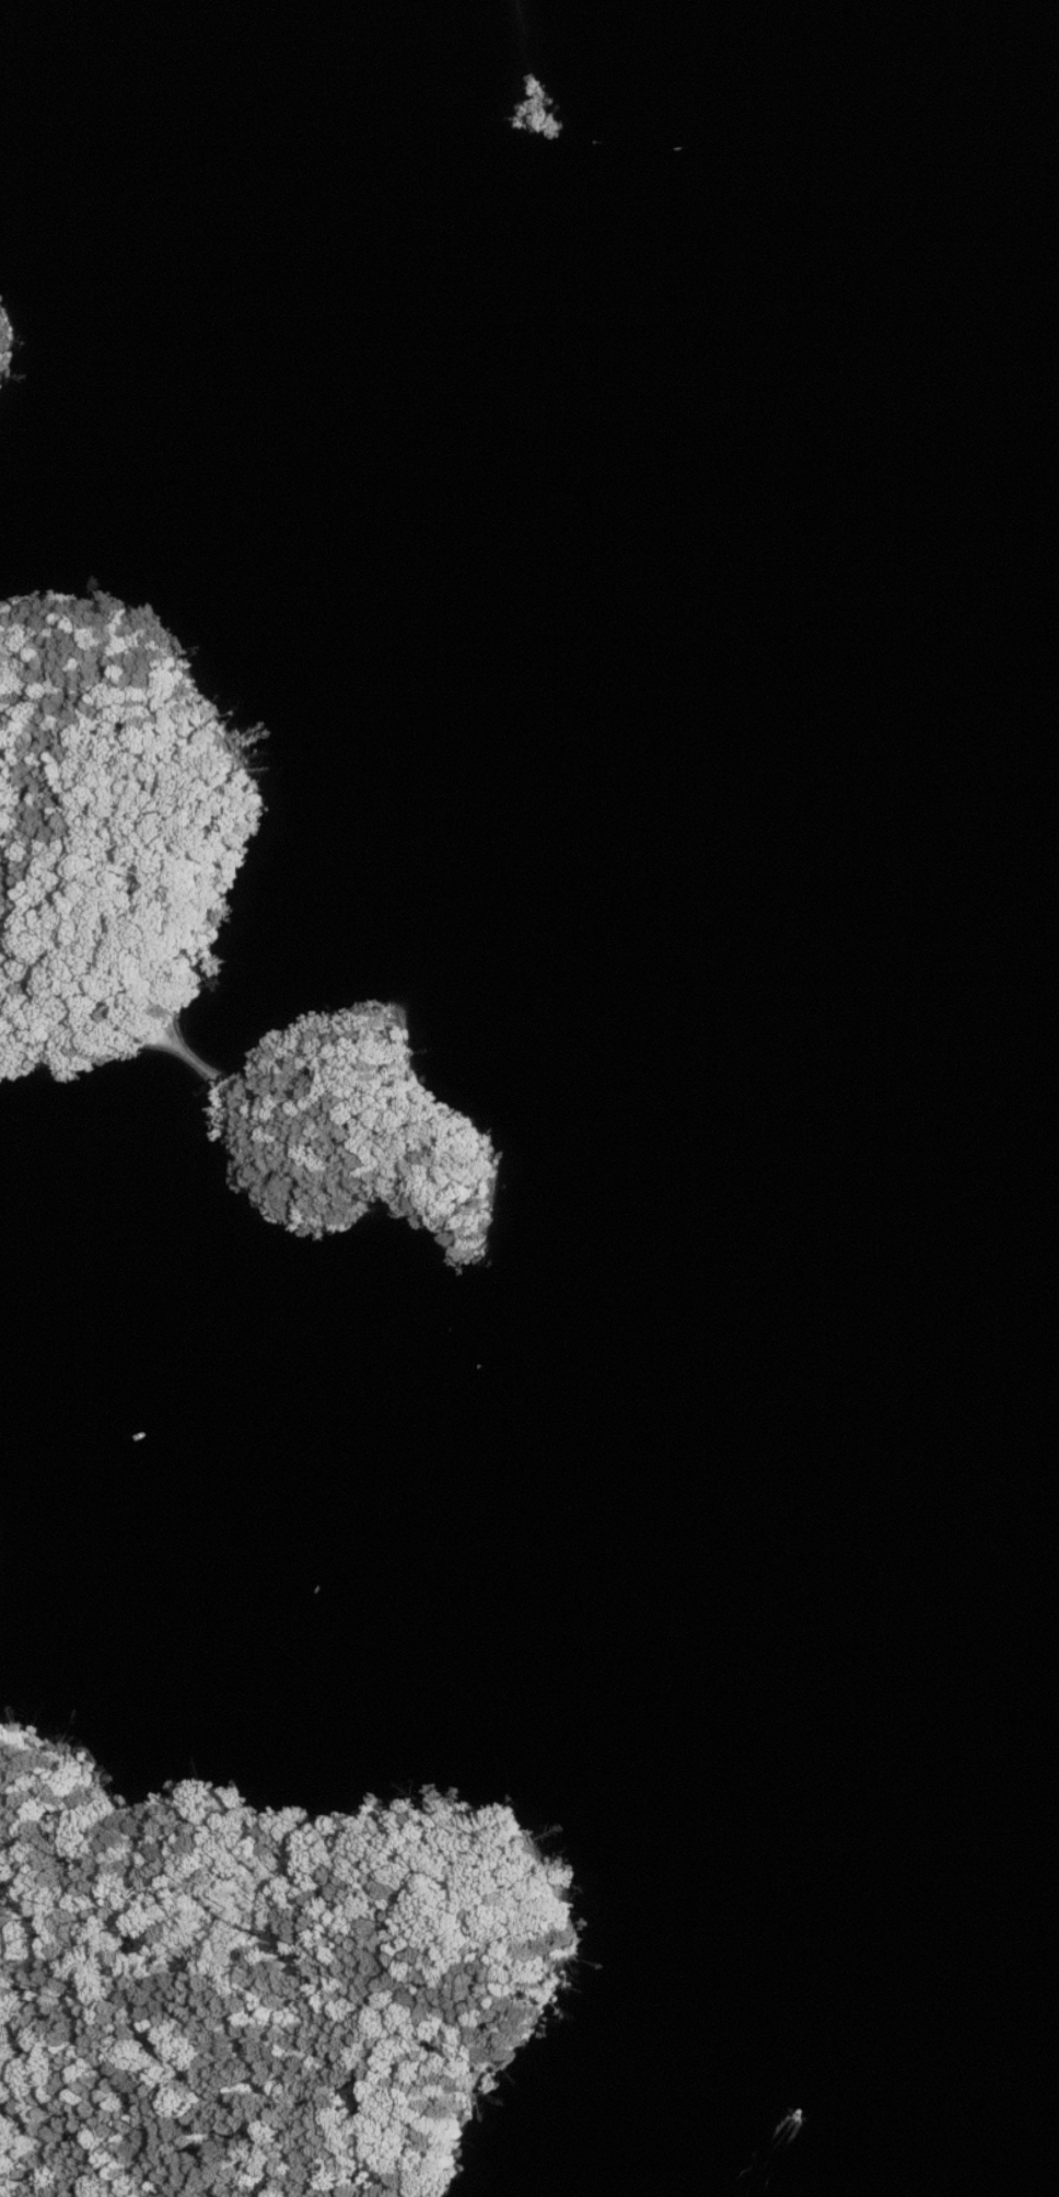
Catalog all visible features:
river: (1006, 2085)

